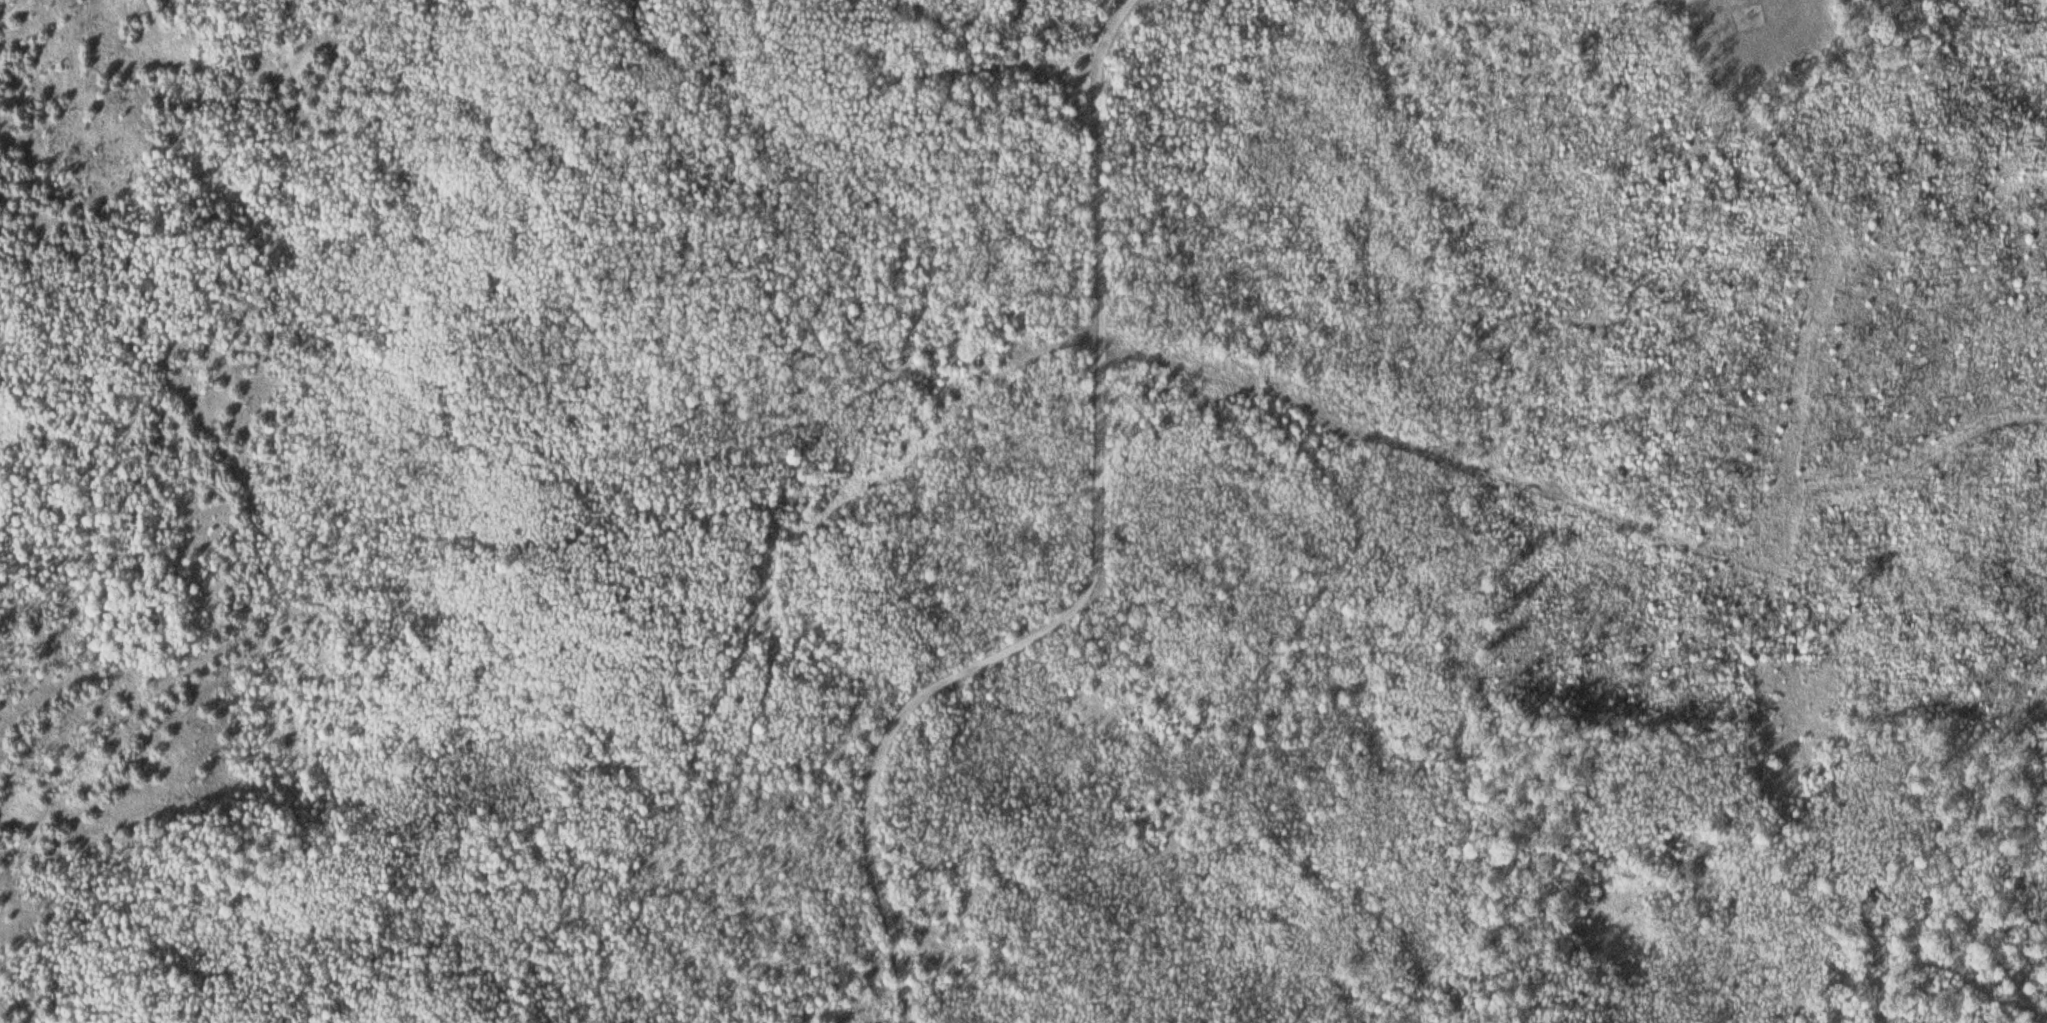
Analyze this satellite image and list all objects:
road: (9, 8)
road: (1103, 567)

